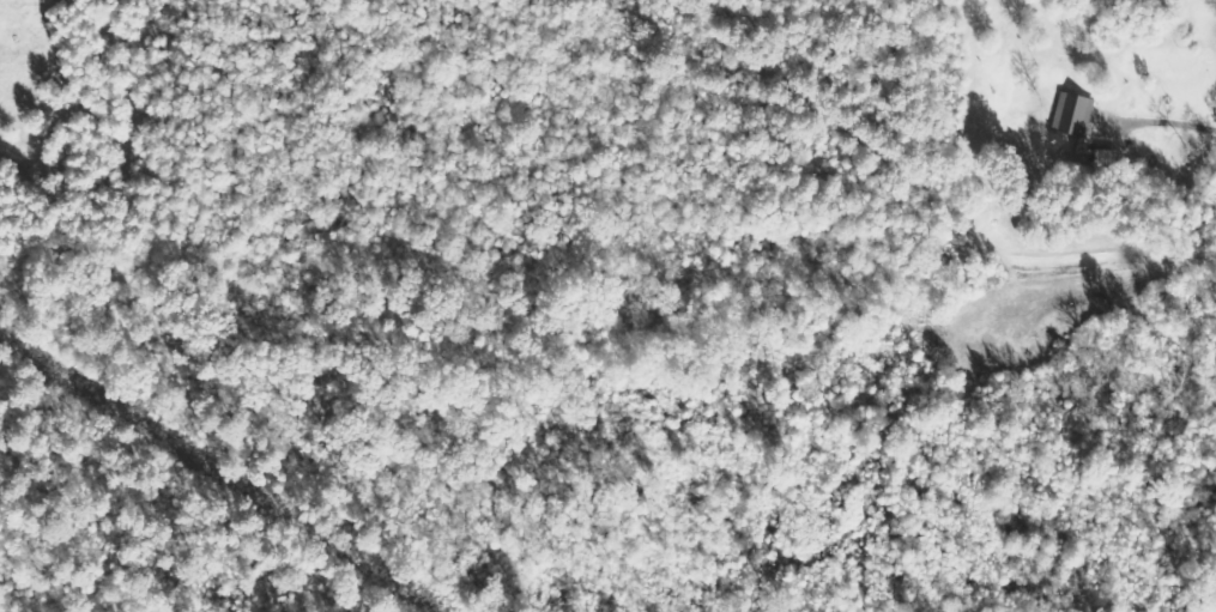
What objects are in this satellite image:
road: (1160, 122)
building: (1081, 133)

